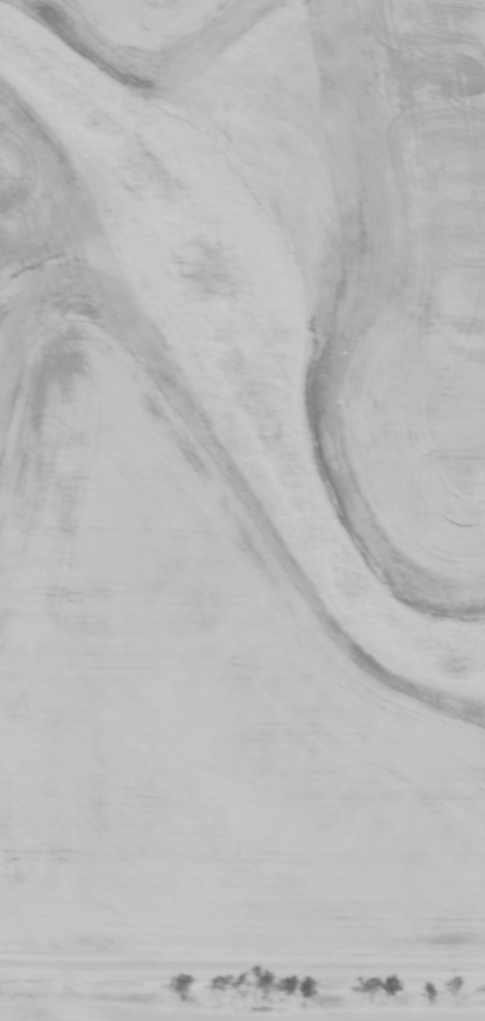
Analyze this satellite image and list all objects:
road: (242, 980)

